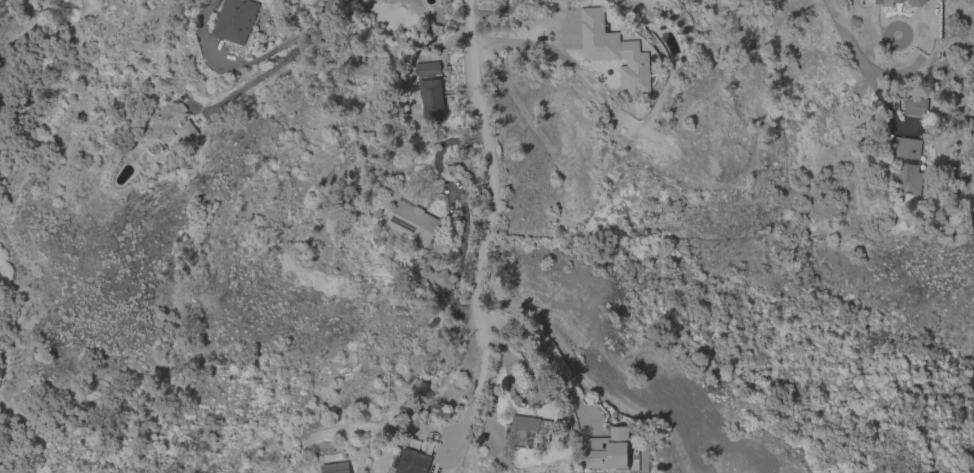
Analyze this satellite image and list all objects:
building: (888, 3)
building: (916, 3)
road: (319, 18)
building: (236, 20)
road: (522, 33)
road: (83, 50)
building: (614, 51)
road: (227, 66)
road: (864, 70)
road: (258, 78)
building: (429, 90)
building: (915, 106)
building: (169, 127)
building: (907, 166)
building: (414, 222)
road: (487, 228)
building: (444, 281)
road: (543, 353)
building: (527, 432)
road: (33, 435)
building: (607, 450)
building: (409, 462)
building: (335, 467)

